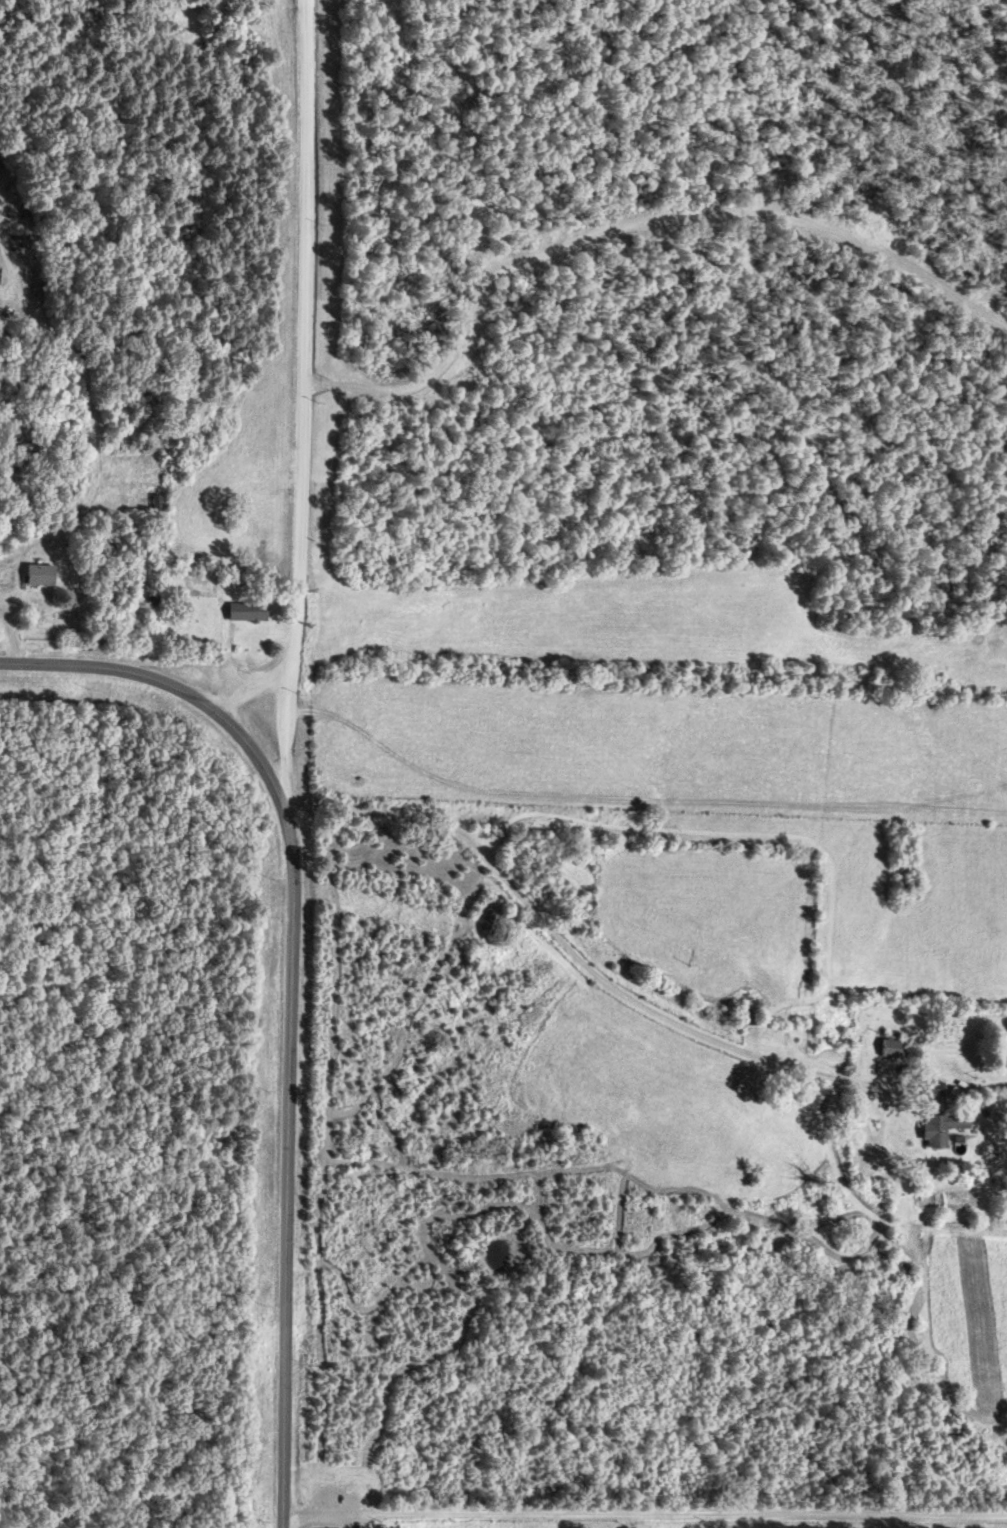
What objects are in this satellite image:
road: (301, 400)
building: (49, 574)
building: (254, 611)
road: (163, 686)
road: (580, 966)
building: (894, 1047)
building: (1004, 1048)
building: (938, 1088)
building: (943, 1127)
road: (288, 1163)
road: (639, 1523)

